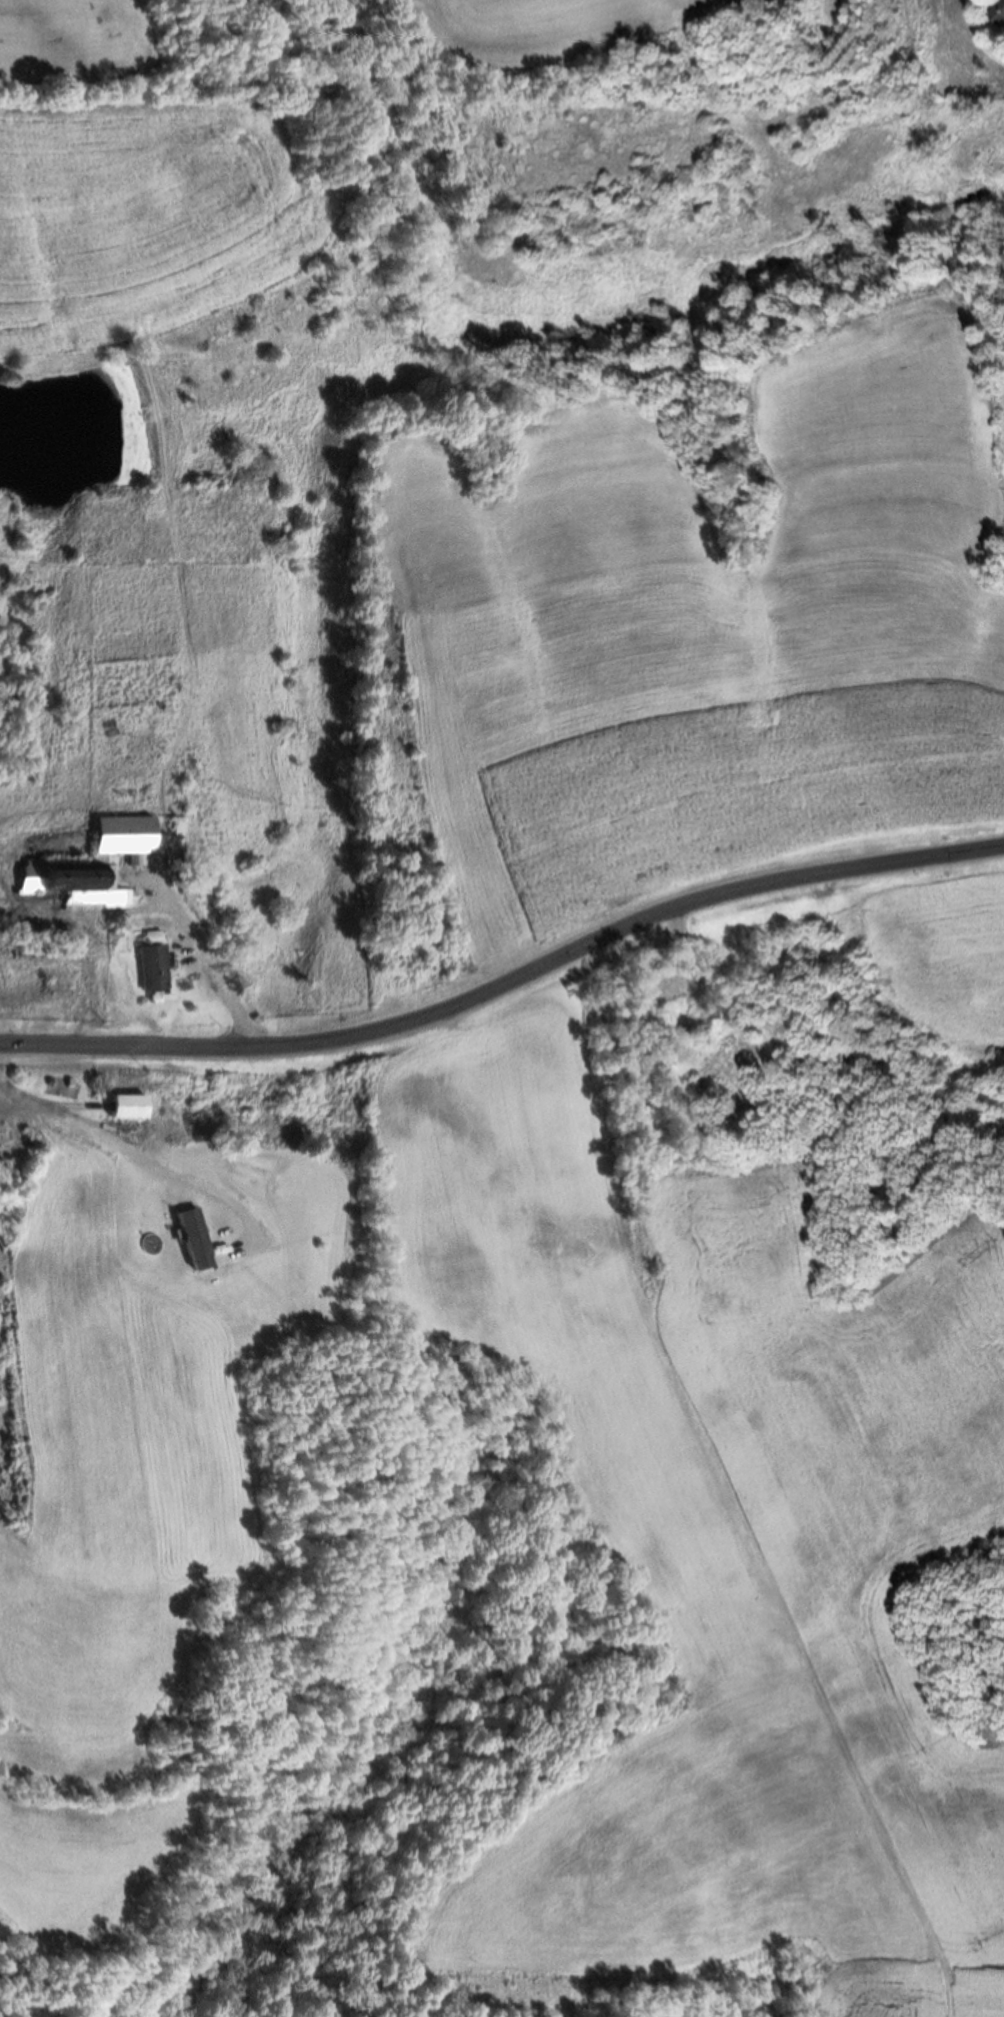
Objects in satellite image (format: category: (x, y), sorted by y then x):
building: (996, 11)
building: (93, 866)
road: (207, 961)
building: (155, 963)
road: (507, 983)
building: (684, 1023)
building: (125, 1106)
road: (144, 1155)

